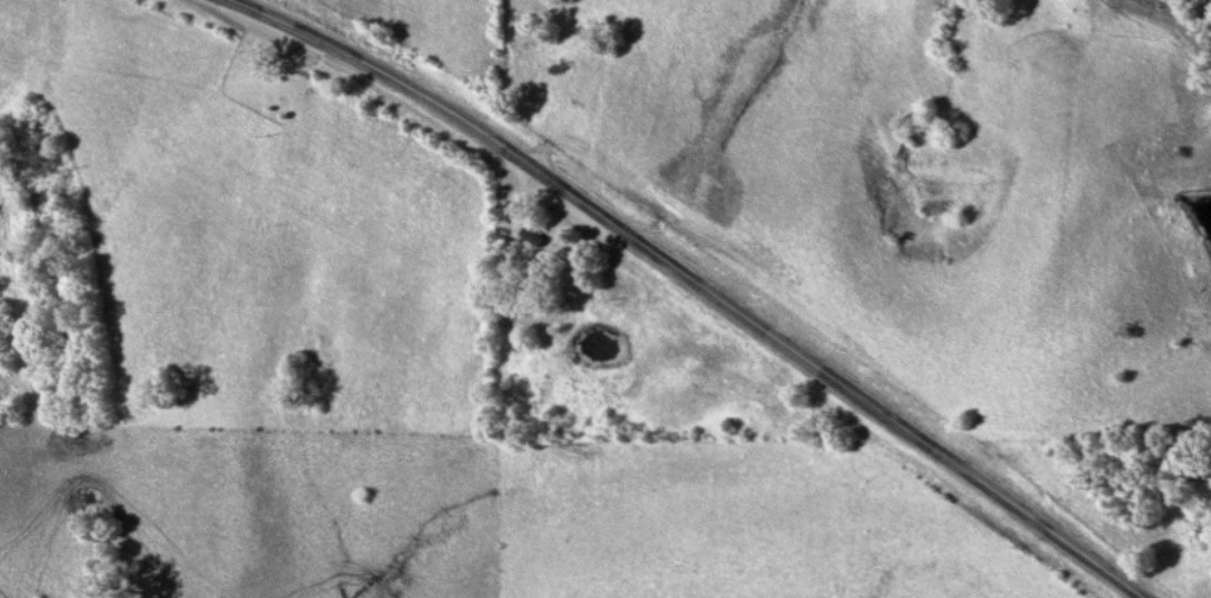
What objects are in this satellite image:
building: (537, 244)
road: (693, 279)

